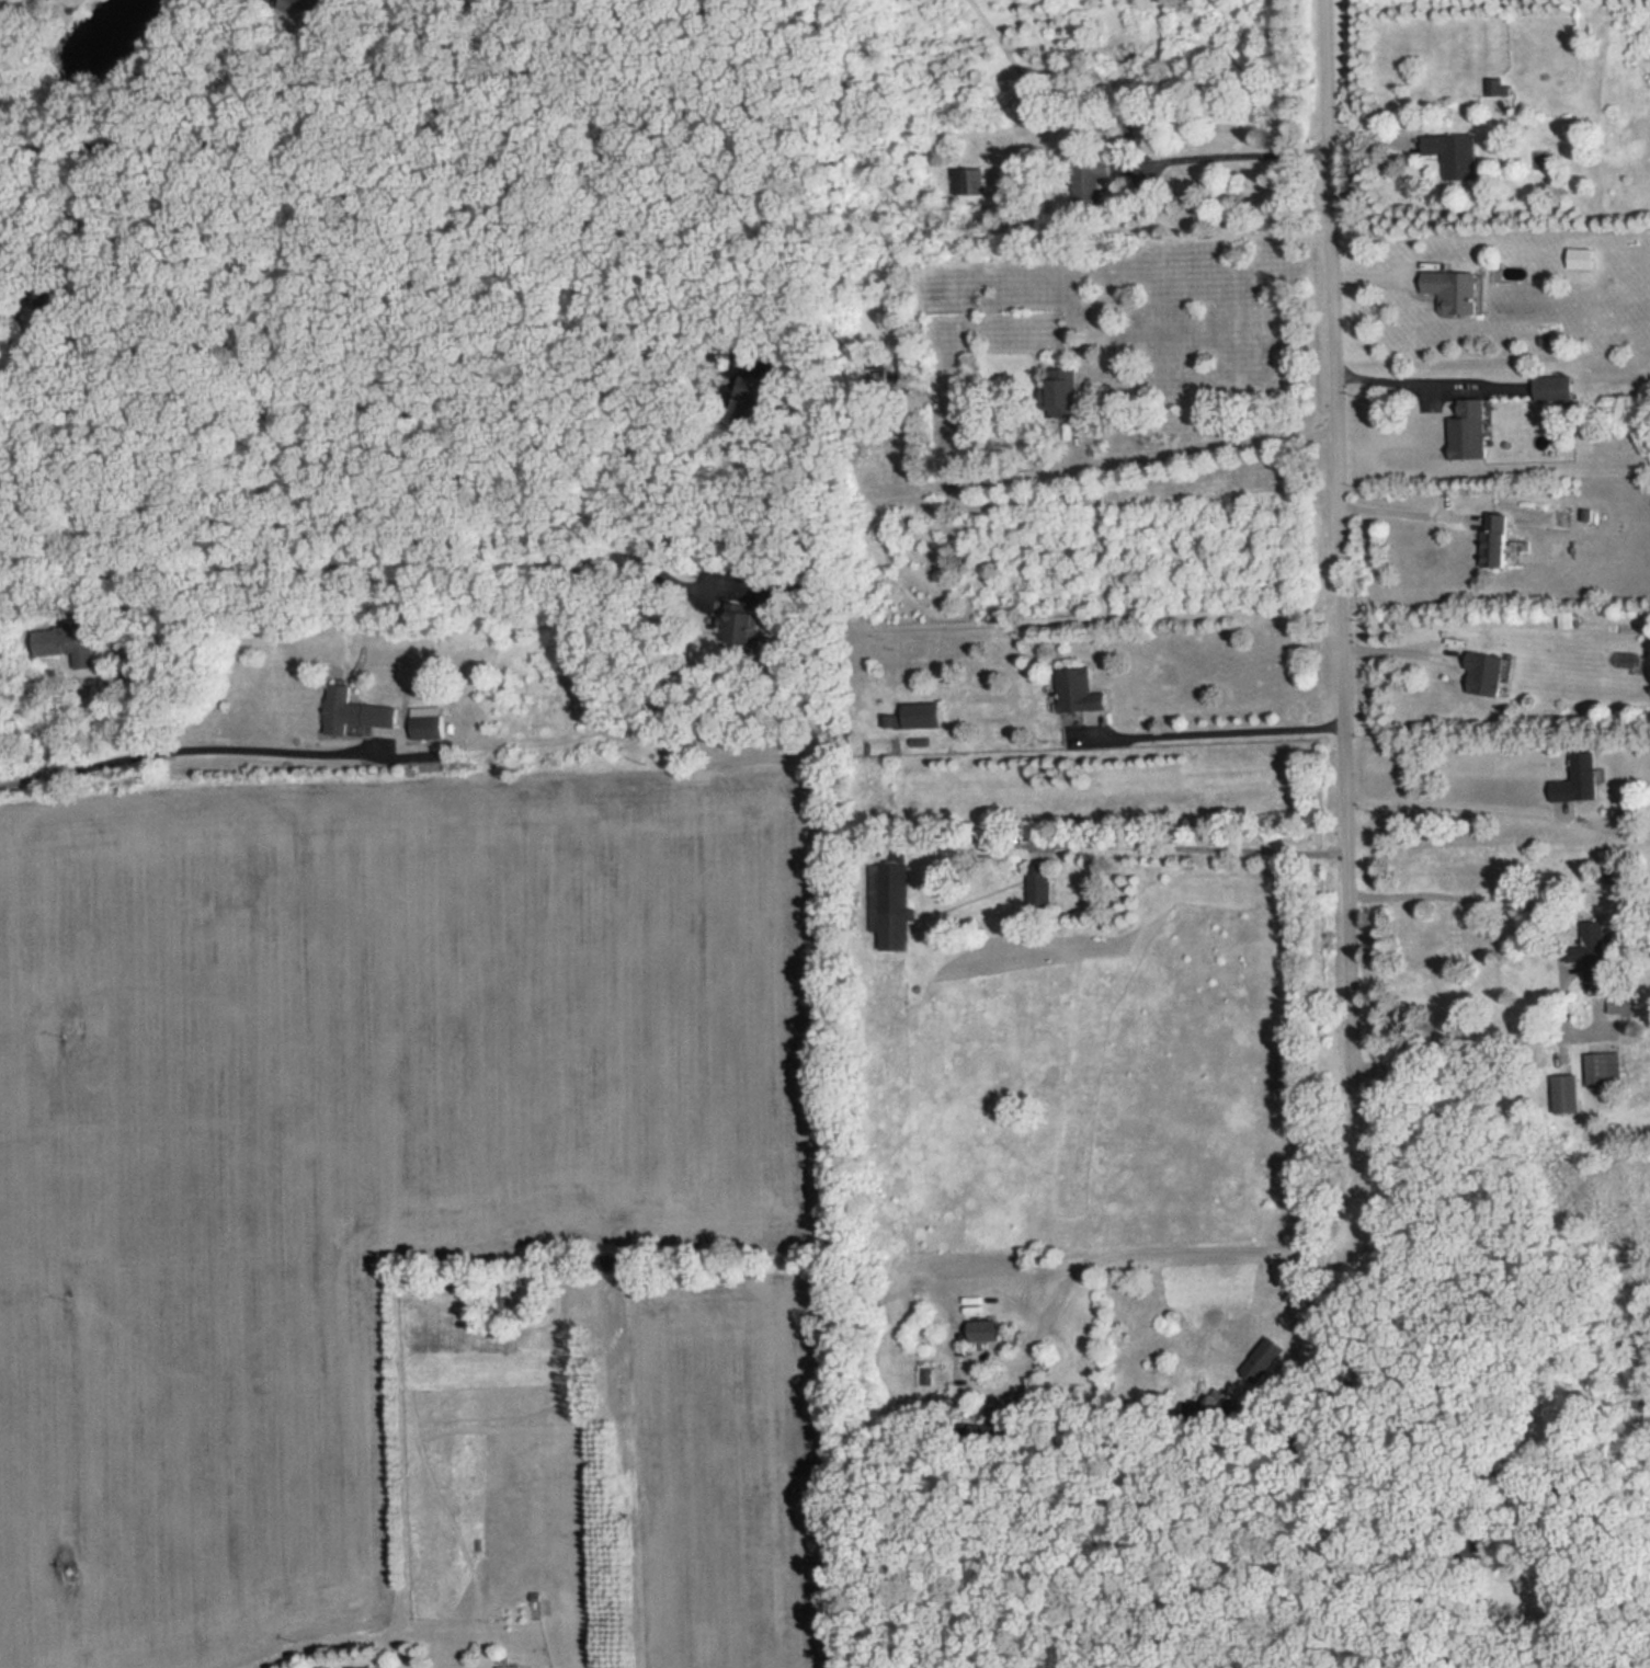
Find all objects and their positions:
building: (1492, 88)
road: (203, 144)
building: (1454, 155)
road: (390, 180)
road: (53, 218)
building: (1450, 292)
road: (1399, 385)
building: (1557, 389)
building: (1471, 432)
road: (1211, 447)
road: (1402, 512)
building: (906, 524)
building: (1500, 541)
road: (322, 564)
road: (710, 578)
road: (1339, 617)
road: (1397, 651)
building: (1489, 675)
building: (1082, 692)
building: (356, 712)
building: (925, 716)
building: (428, 722)
road: (1213, 735)
road: (189, 751)
building: (1578, 778)
road: (1449, 809)
road: (1195, 853)
building: (897, 905)
building: (1596, 950)
road: (1561, 982)
building: (1602, 1064)
building: (1563, 1094)
road: (1147, 1243)
road: (1312, 1304)
building: (988, 1330)
road: (1450, 1352)
building: (1262, 1355)

